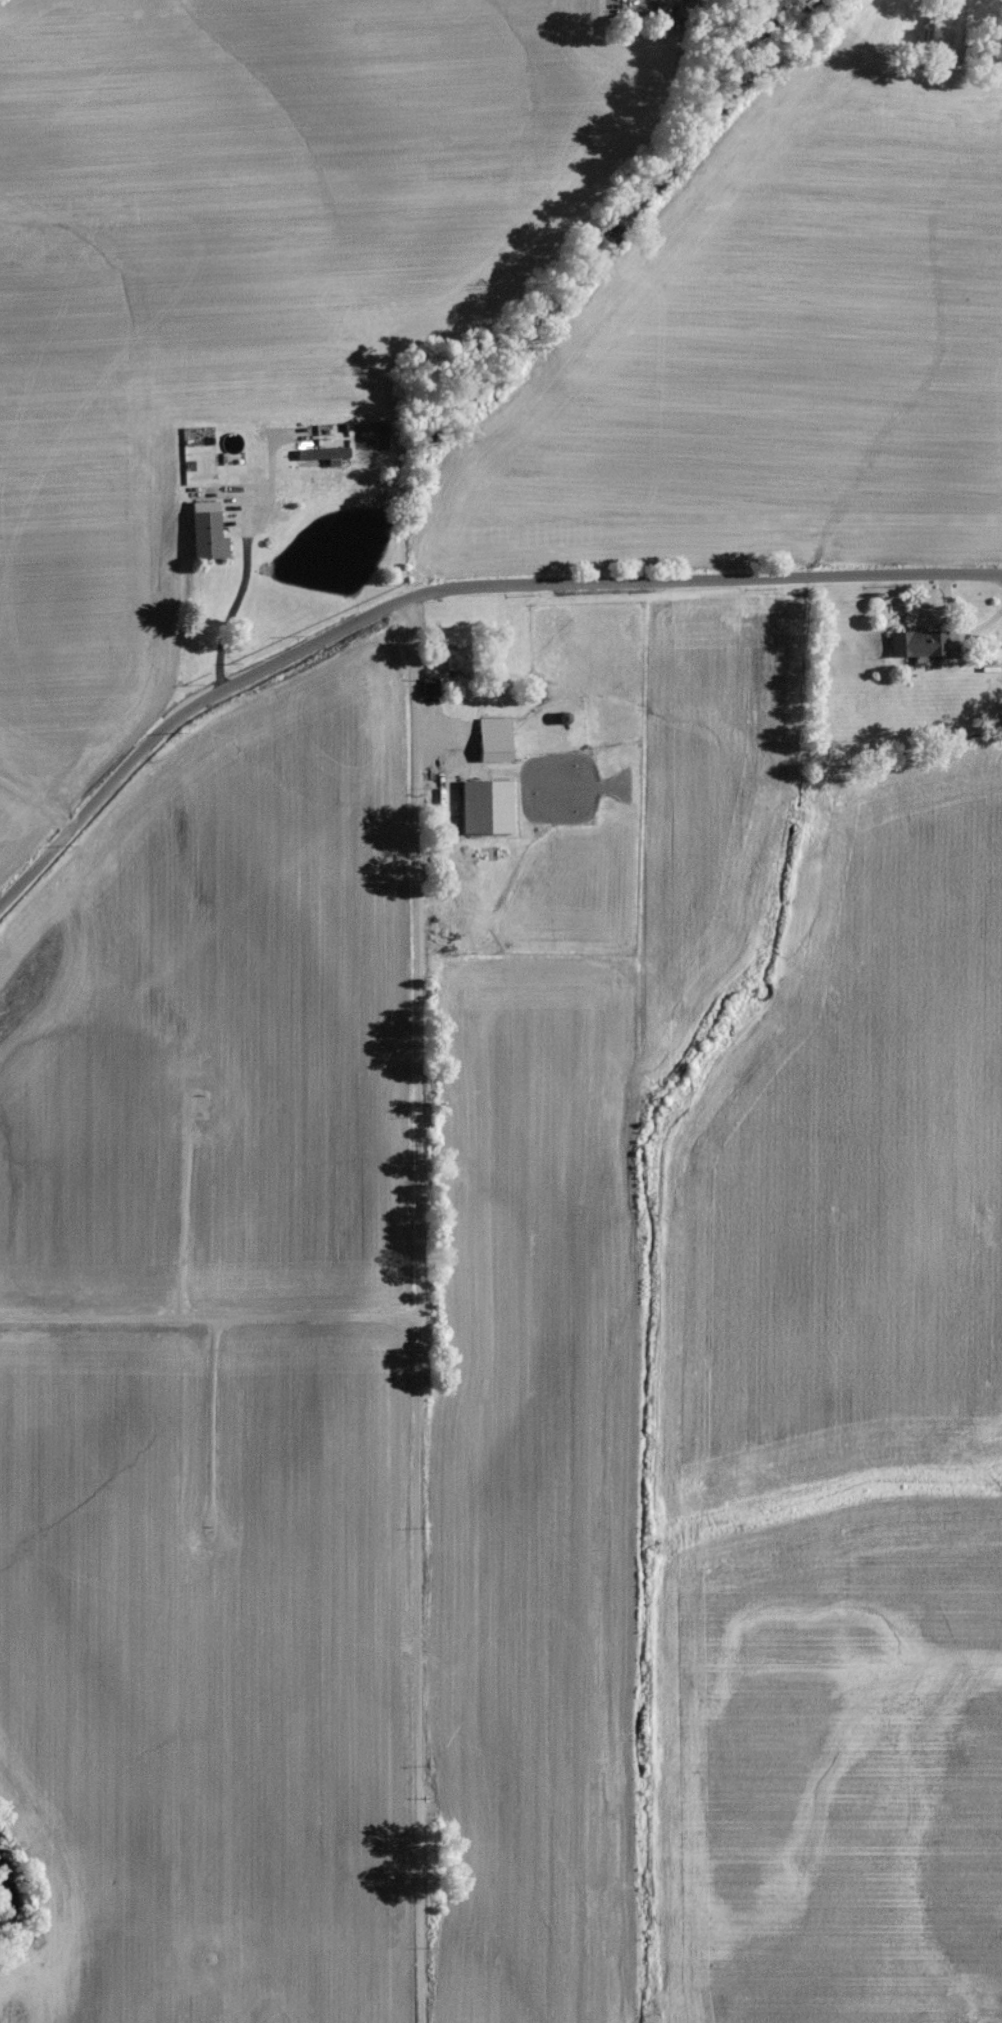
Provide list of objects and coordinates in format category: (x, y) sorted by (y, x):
building: (209, 542)
road: (447, 593)
building: (920, 649)
building: (990, 661)
building: (430, 692)
building: (495, 745)
building: (487, 812)
road: (412, 966)
petroleum well: (192, 1099)
petroleum well: (207, 1530)

